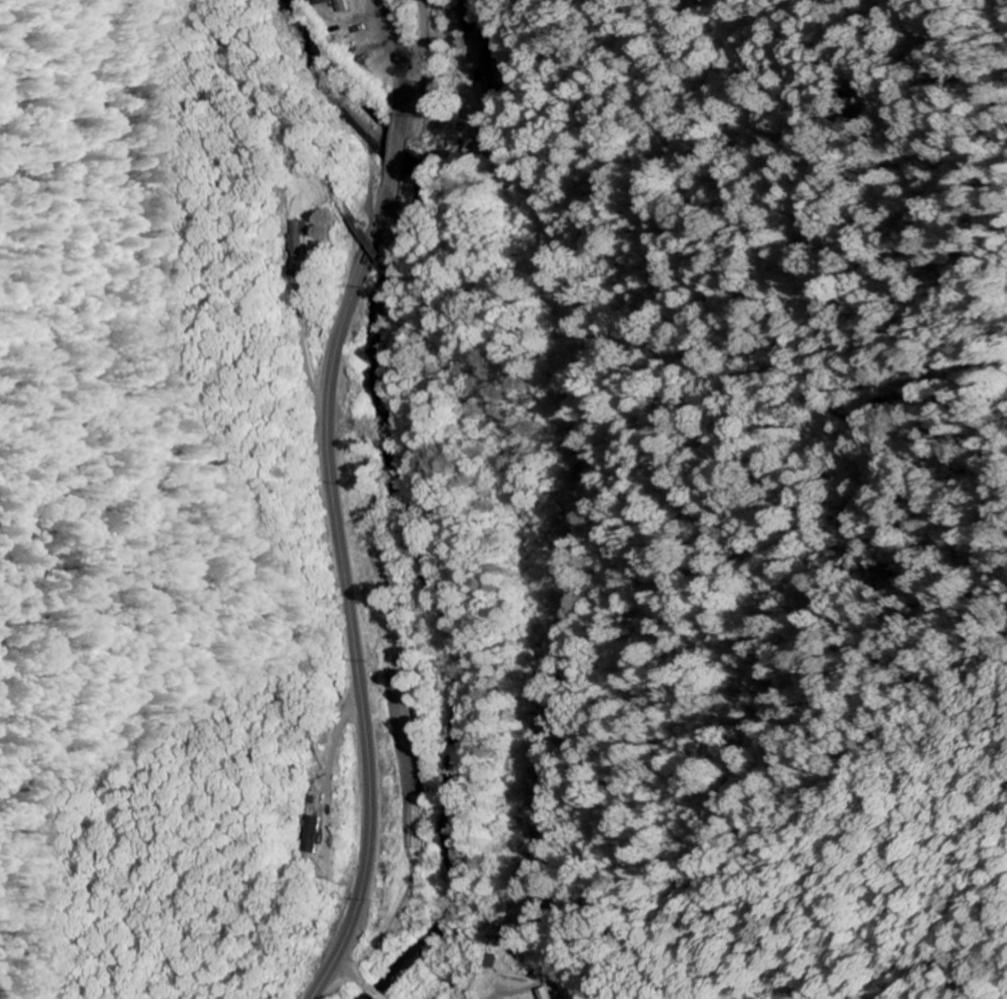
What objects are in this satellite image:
building: (319, 3)
building: (487, 71)
building: (477, 151)
building: (296, 240)
road: (331, 499)
building: (310, 836)
road: (352, 980)
building: (543, 994)

